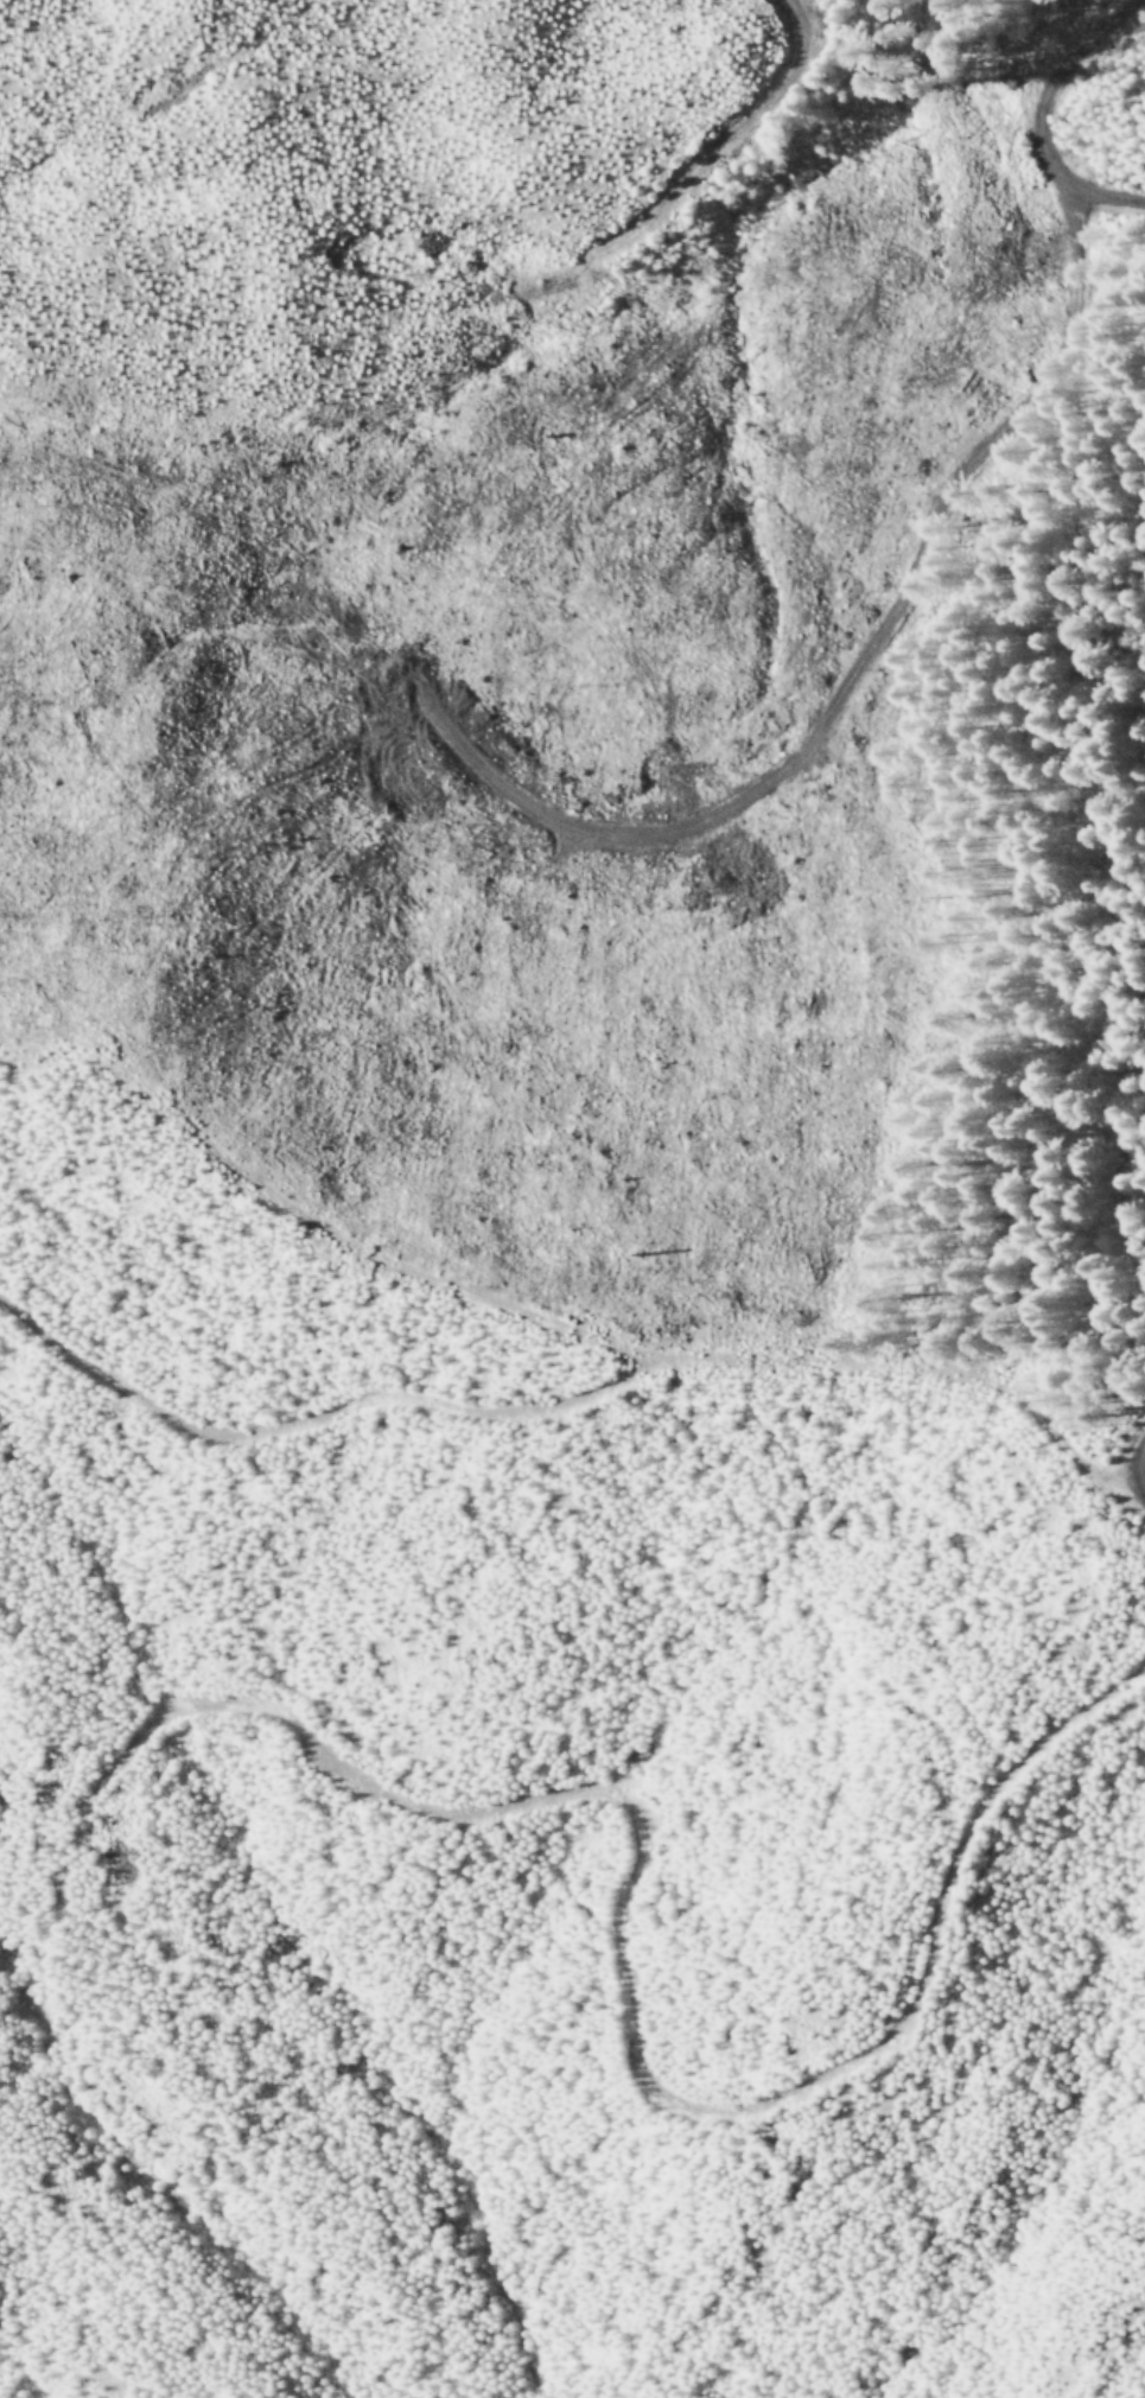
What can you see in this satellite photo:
road: (1057, 113)
road: (706, 179)
road: (574, 1392)
road: (625, 2019)

